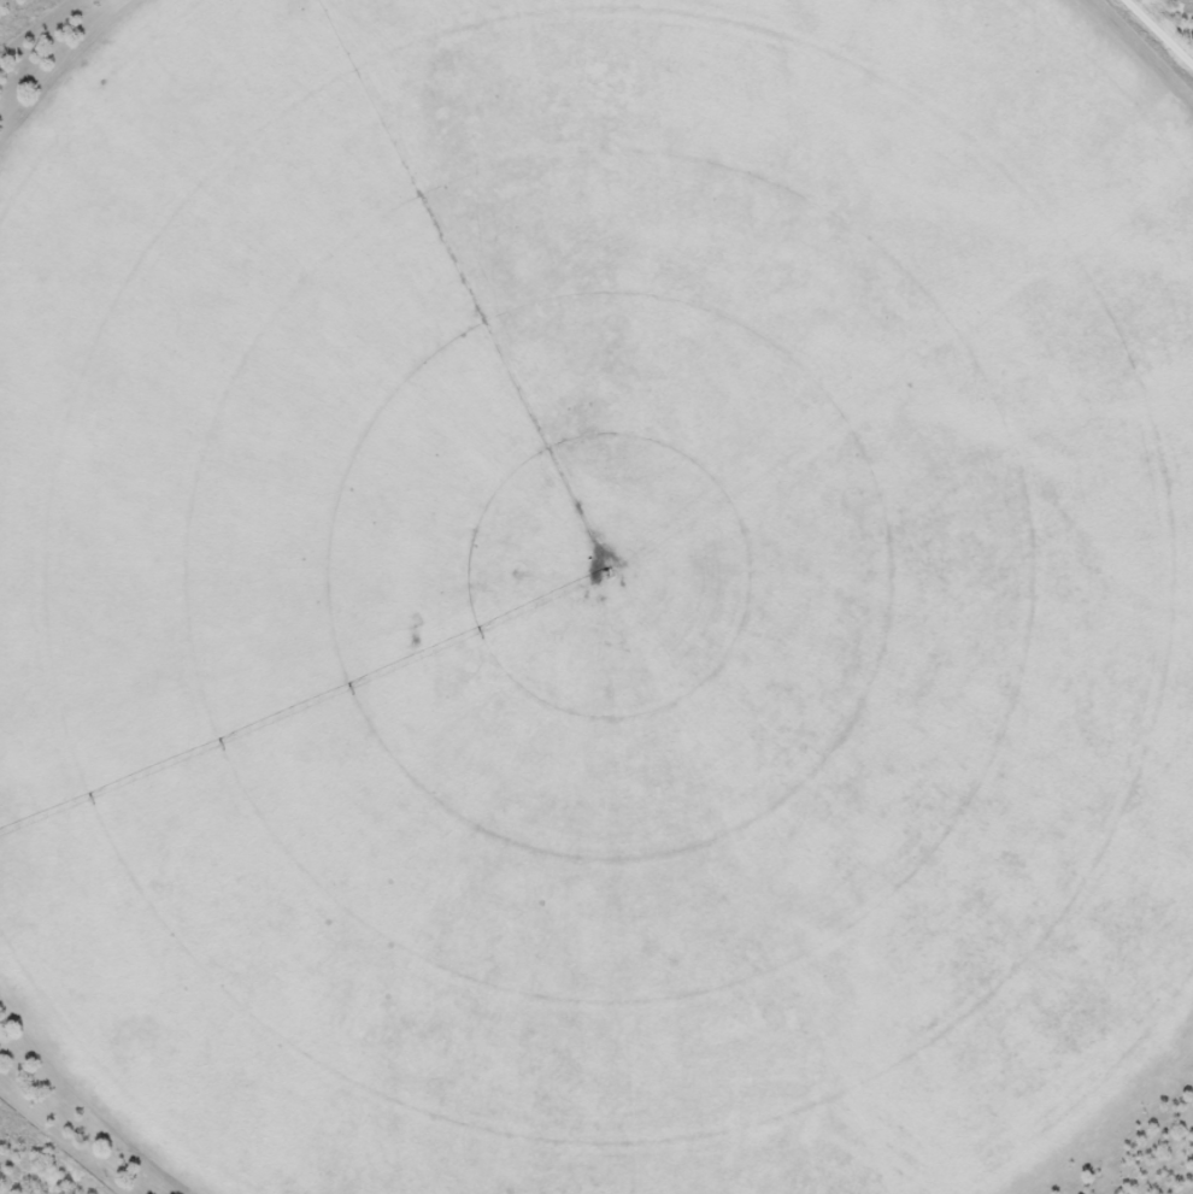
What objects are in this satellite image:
road: (1152, 37)

